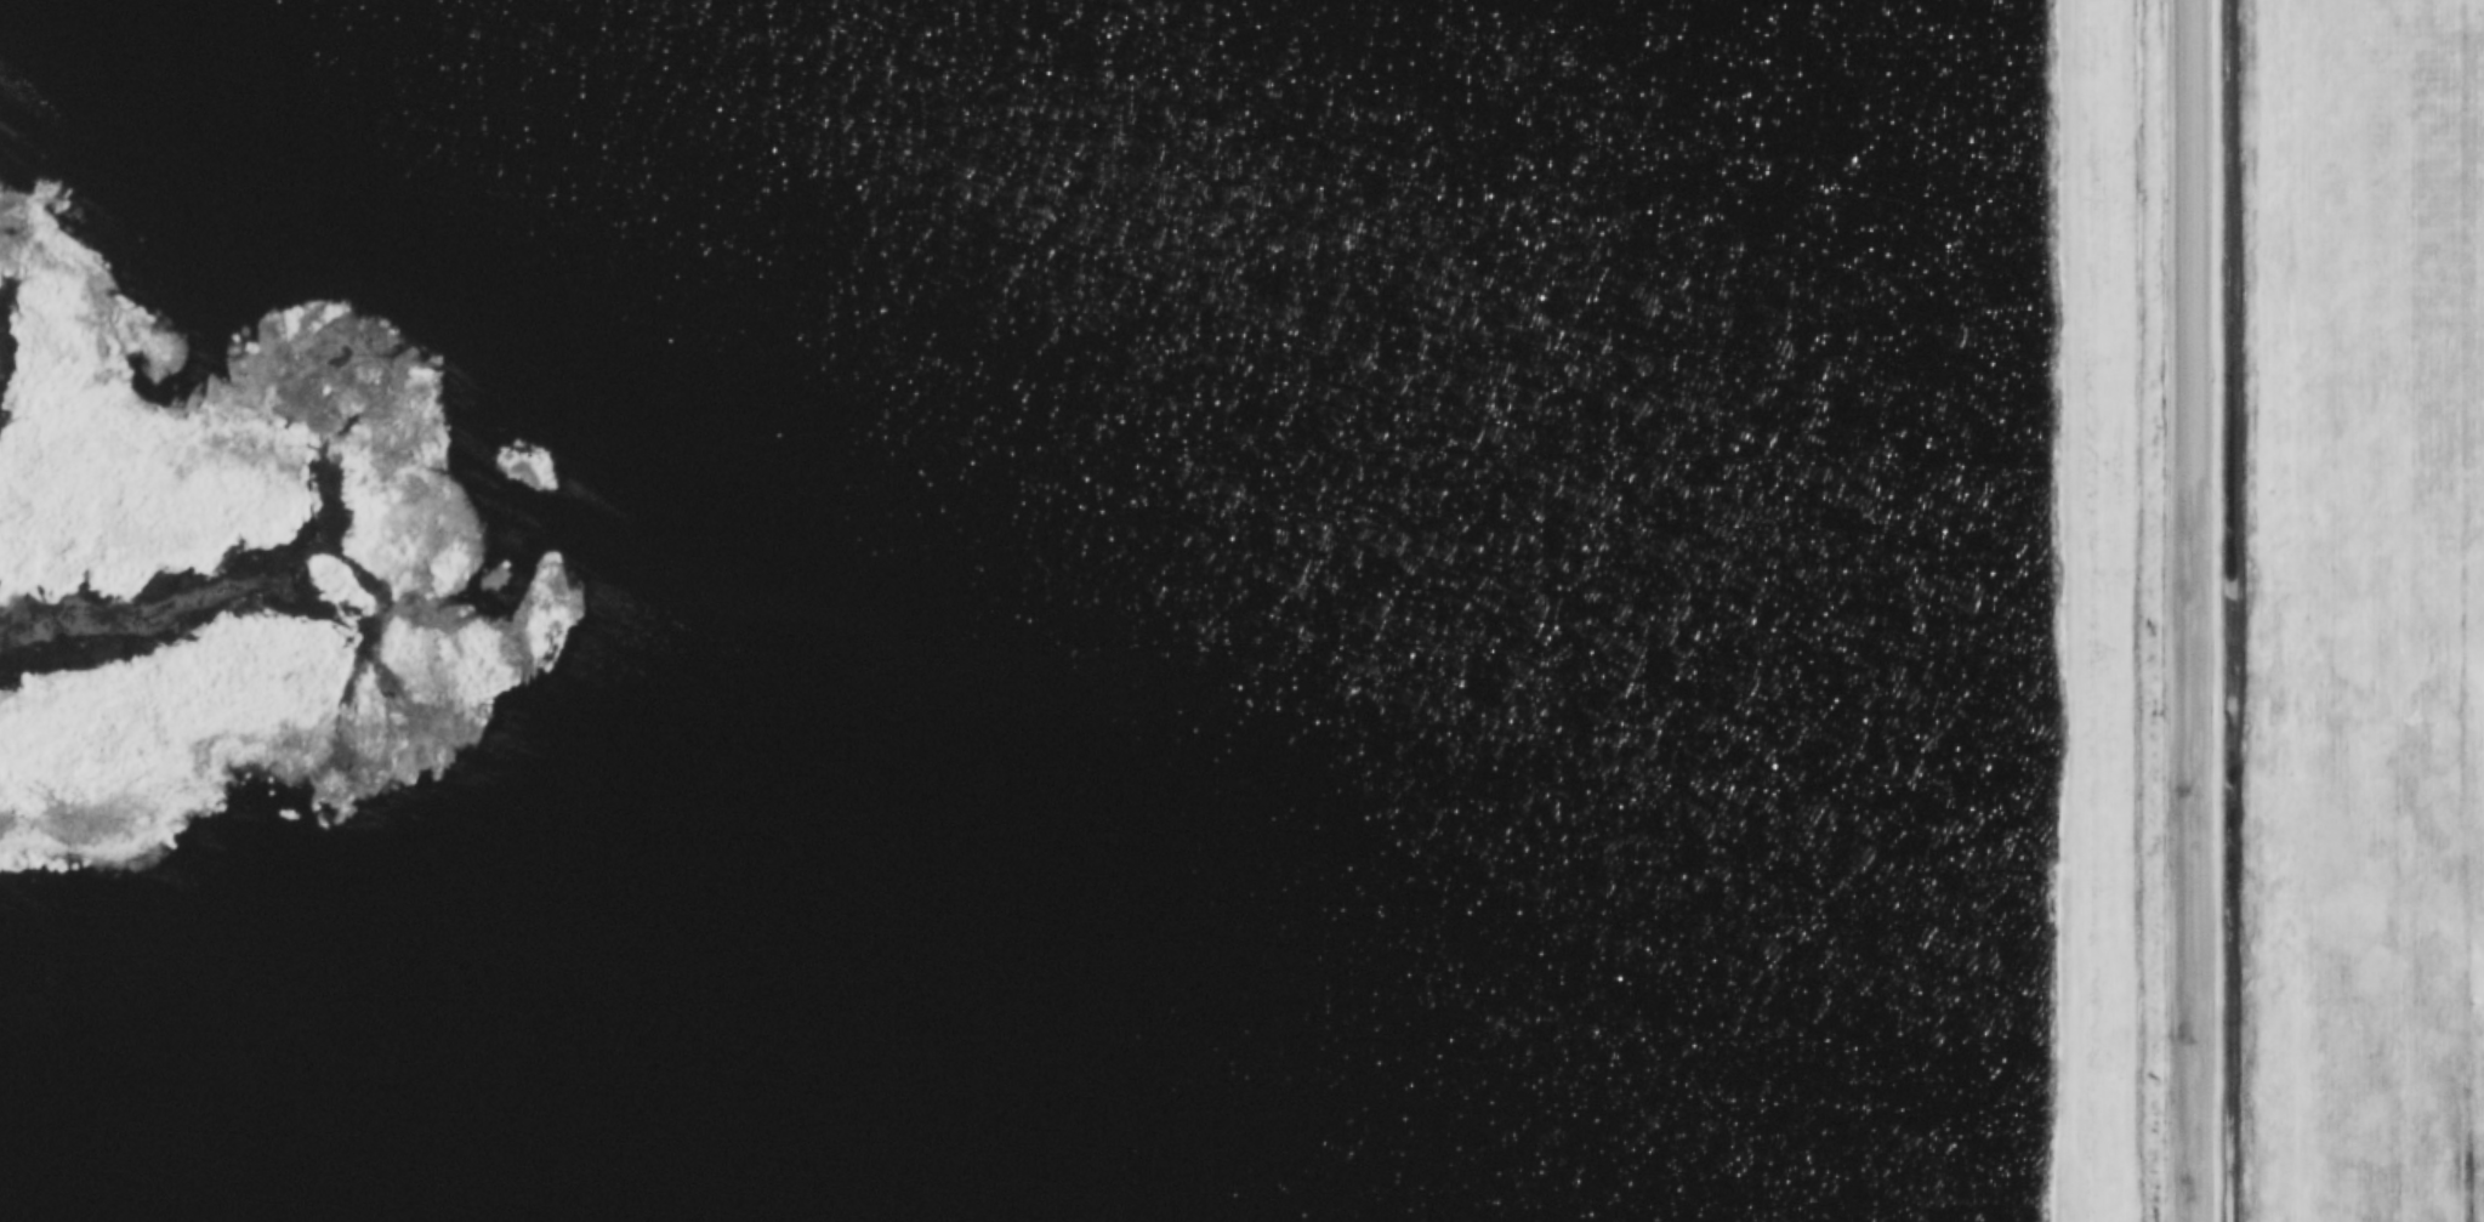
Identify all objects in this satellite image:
road: (2192, 610)

